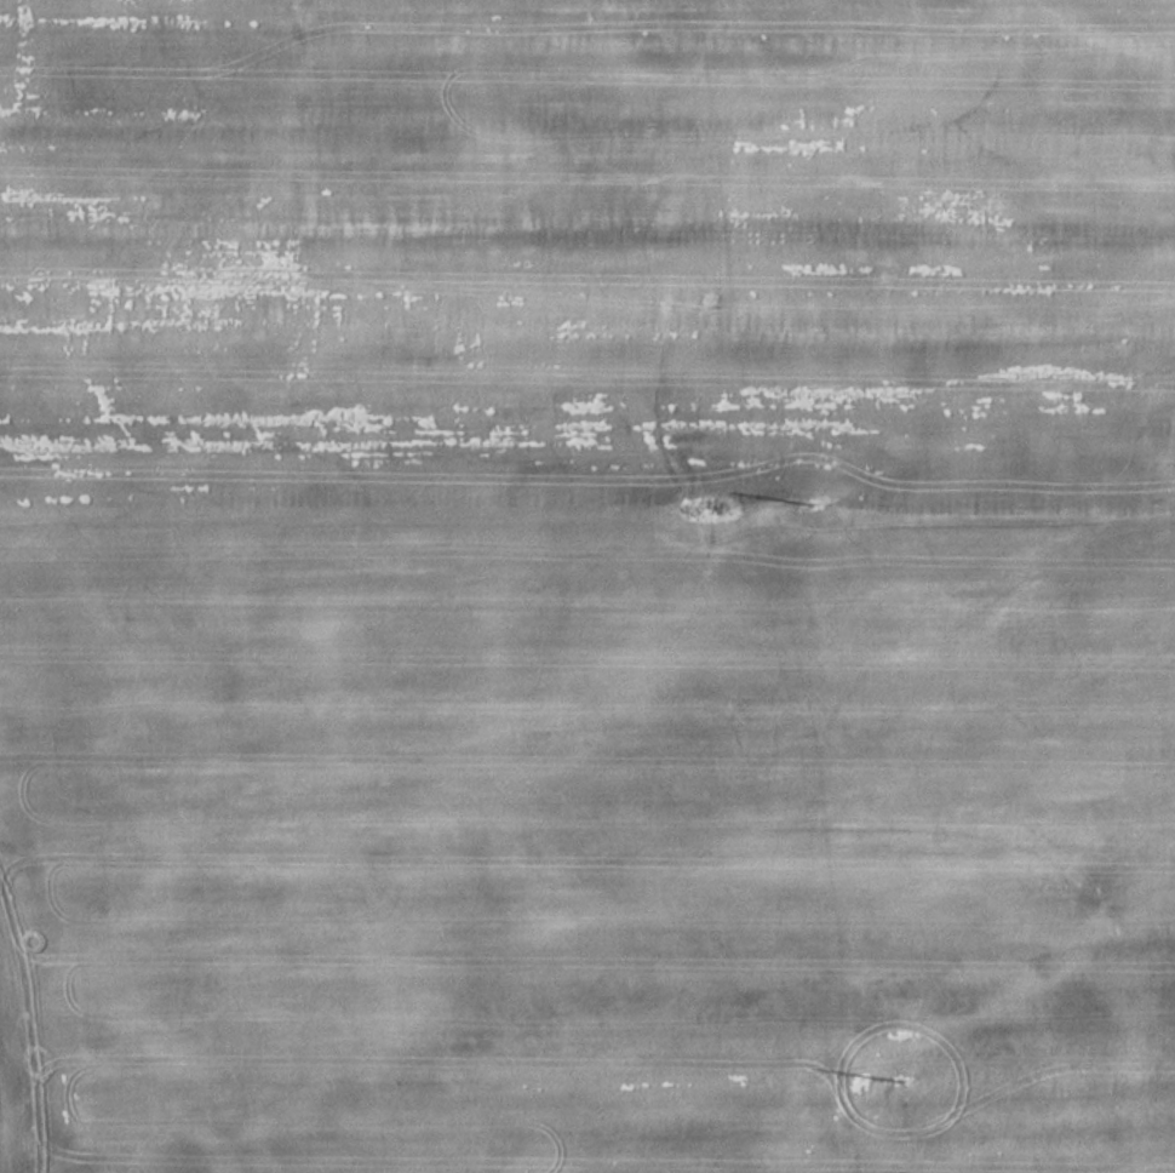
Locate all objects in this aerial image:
power tower: (808, 505)
power tower: (889, 1082)

